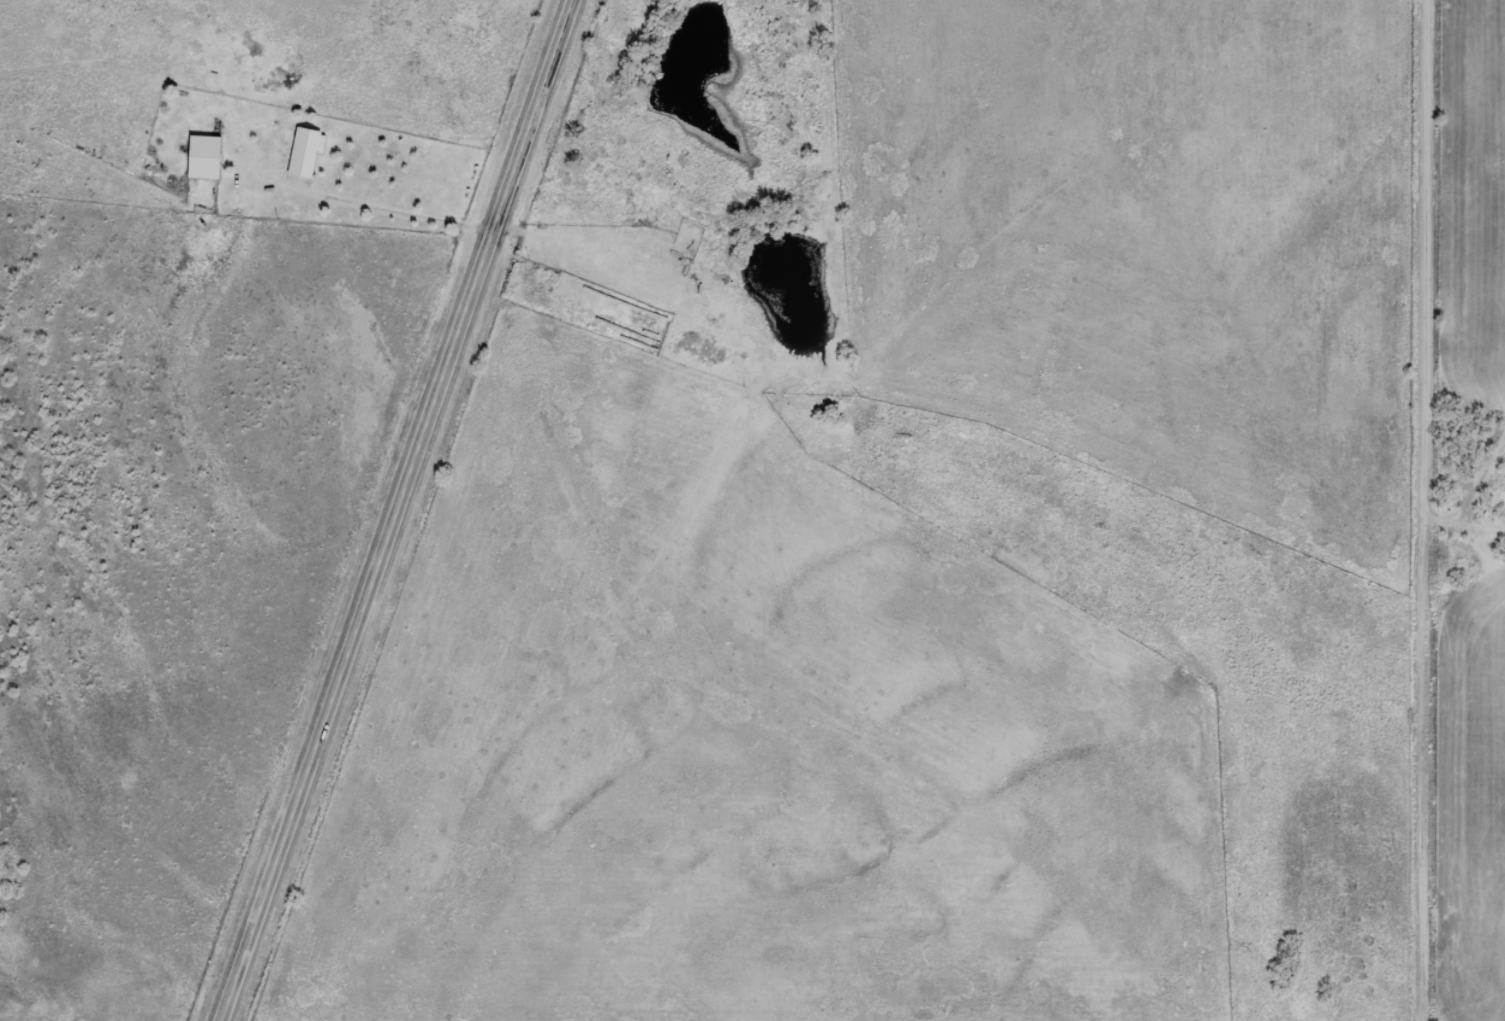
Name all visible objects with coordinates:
building: (306, 153)
building: (205, 158)
road: (753, 470)
road: (402, 510)
road: (1425, 510)

